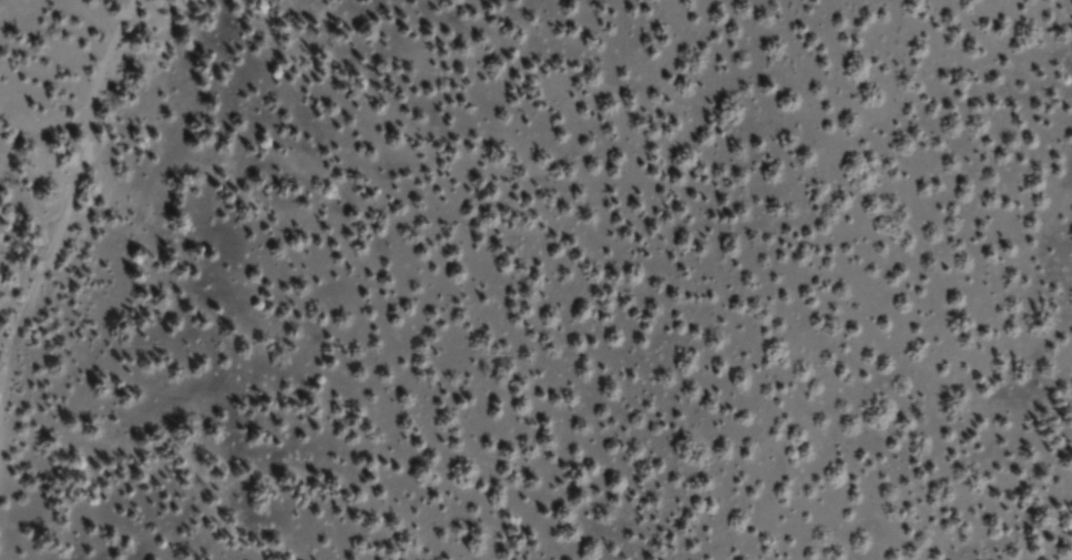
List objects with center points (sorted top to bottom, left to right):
road: (57, 211)

